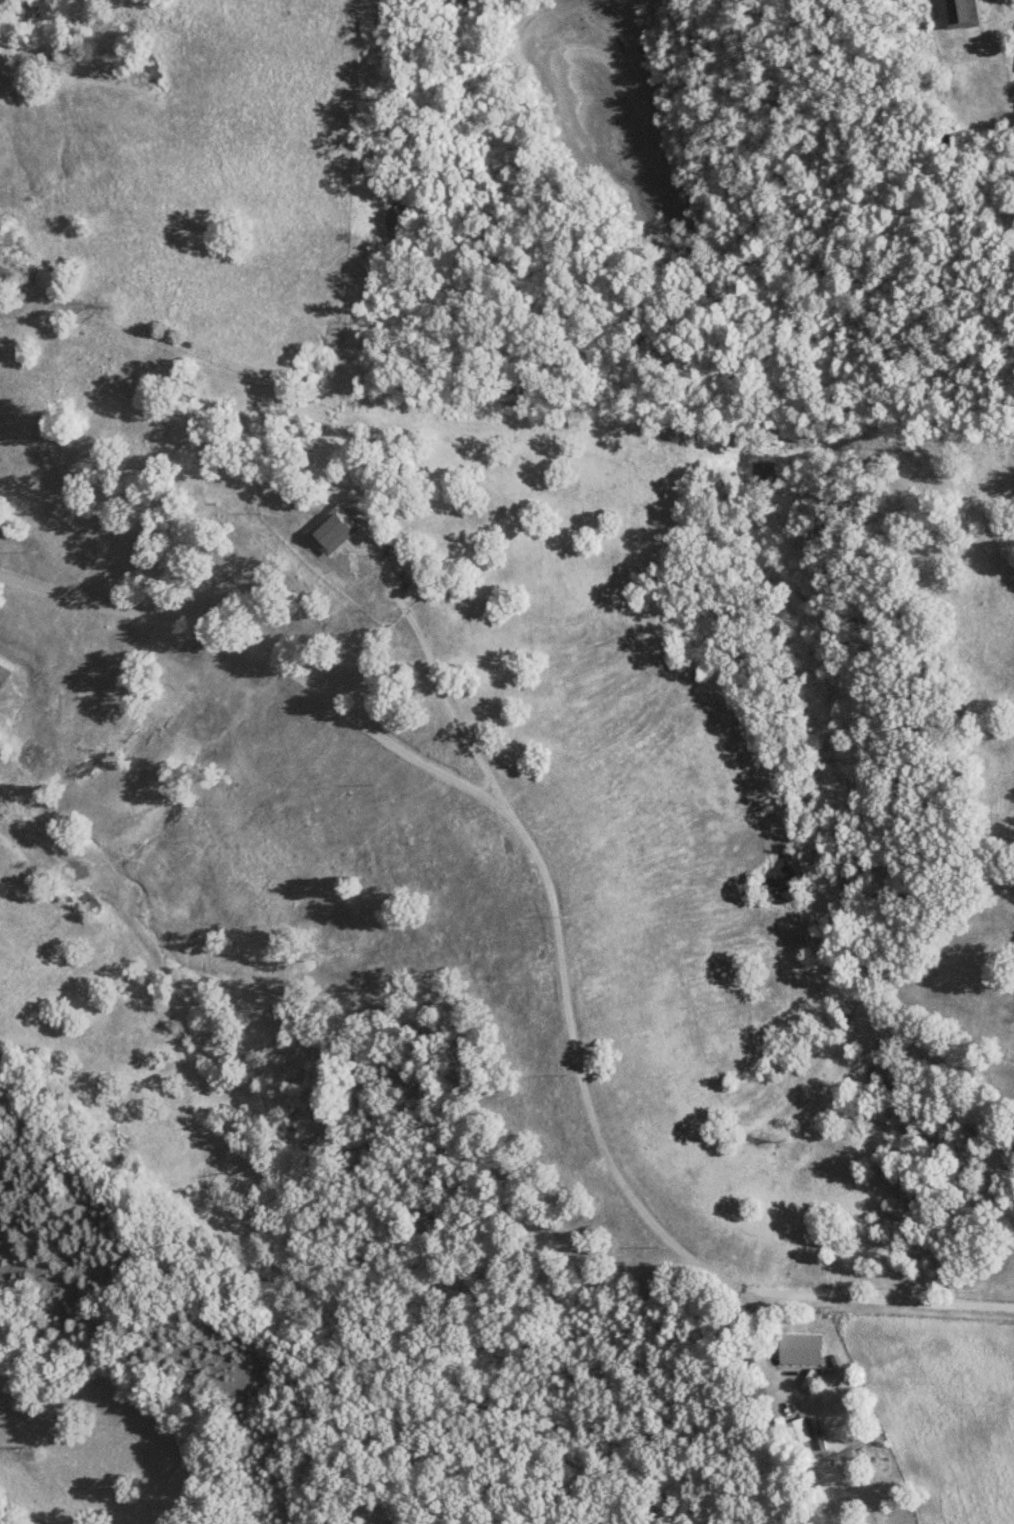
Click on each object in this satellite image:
building: (956, 13)
road: (998, 65)
building: (333, 529)
road: (436, 672)
building: (3, 673)
road: (559, 927)
building: (798, 1348)
building: (795, 1431)

